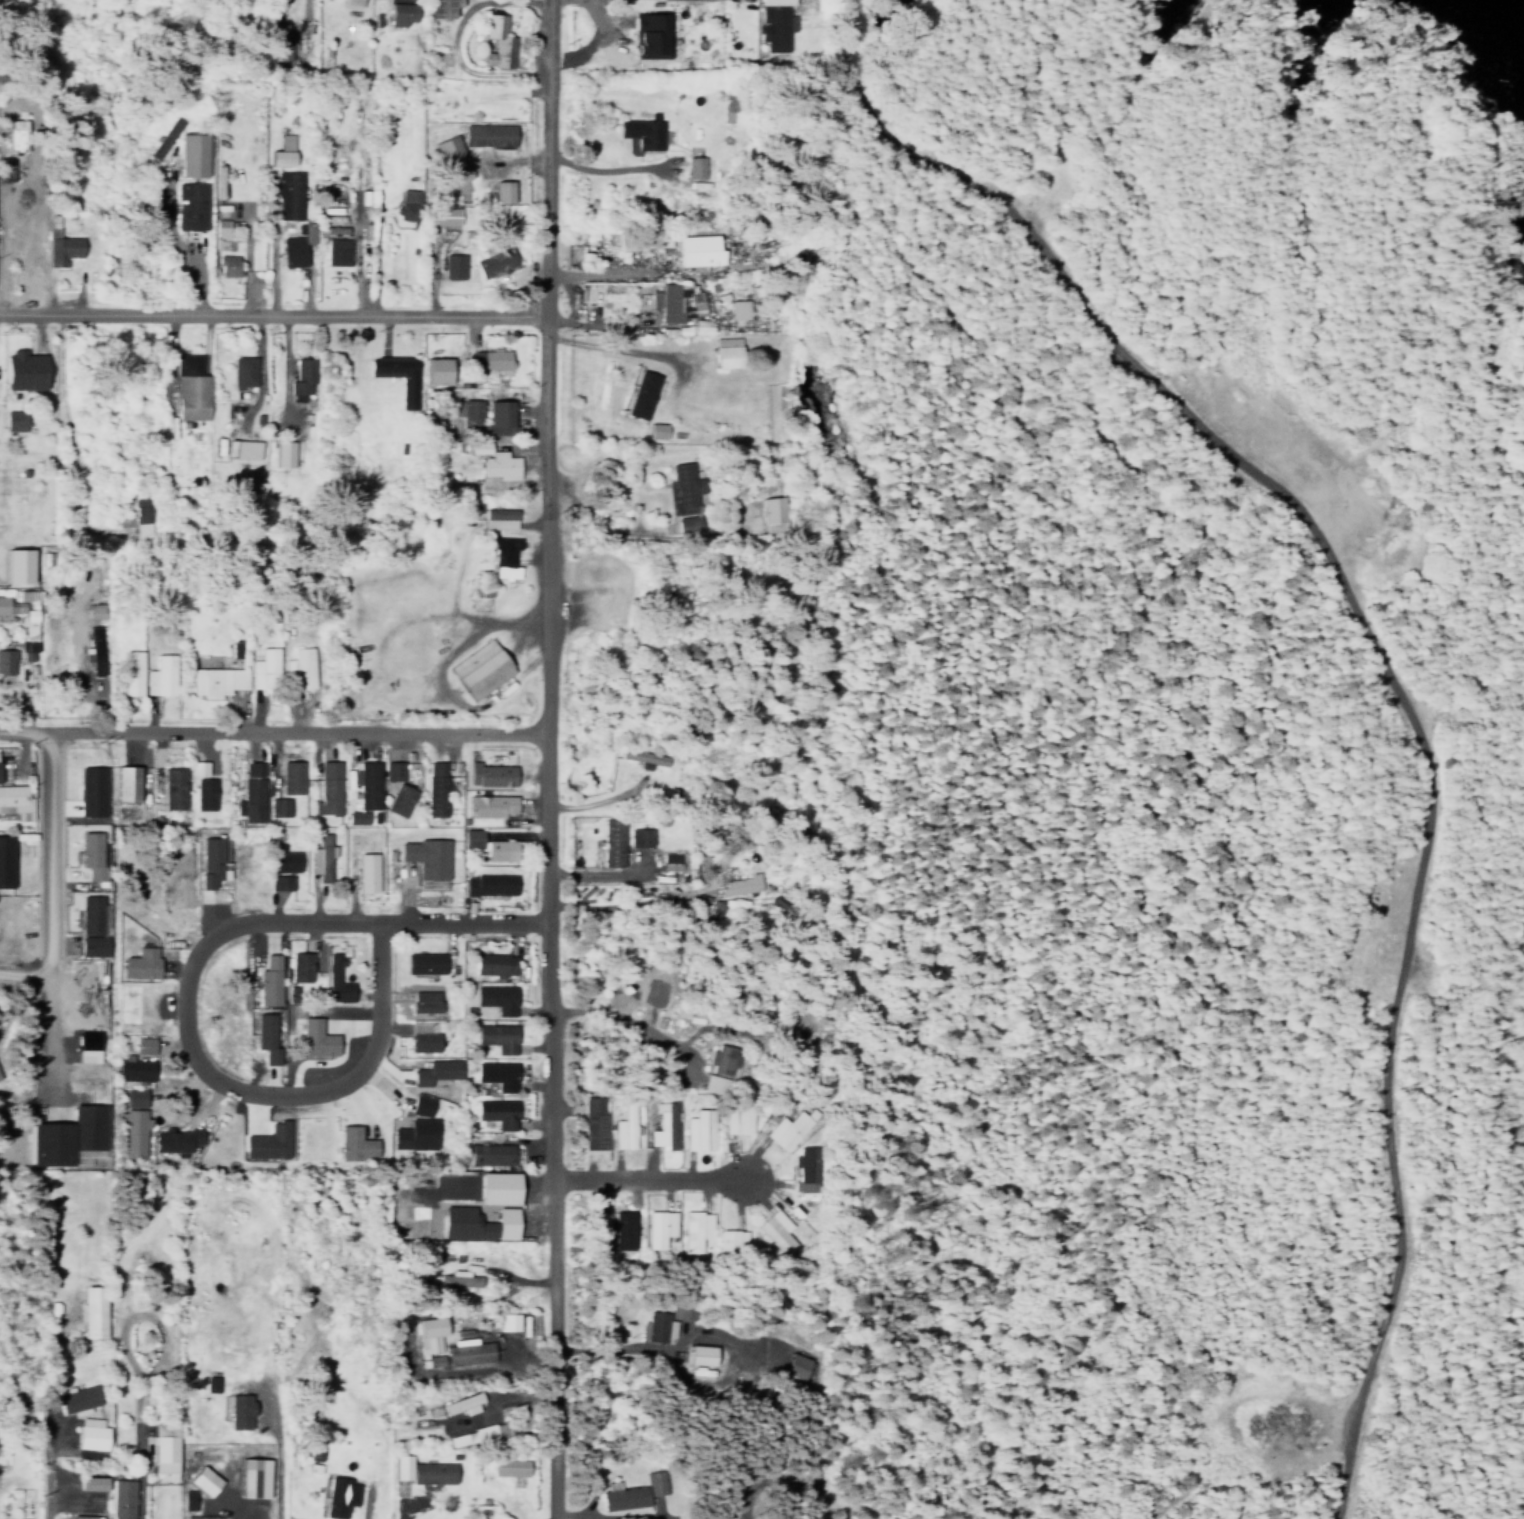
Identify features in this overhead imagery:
building: (353, 1)
building: (441, 6)
building: (399, 10)
building: (775, 21)
building: (650, 34)
building: (497, 37)
building: (730, 100)
building: (642, 129)
building: (490, 134)
building: (283, 151)
building: (193, 154)
building: (454, 155)
road: (547, 156)
building: (694, 165)
road: (605, 167)
building: (504, 191)
building: (290, 194)
building: (408, 204)
building: (190, 206)
building: (447, 215)
building: (221, 228)
road: (175, 232)
building: (62, 242)
building: (297, 245)
building: (697, 246)
building: (337, 251)
building: (497, 262)
building: (227, 265)
building: (456, 267)
building: (665, 298)
building: (696, 303)
building: (737, 306)
road: (273, 310)
building: (725, 353)
building: (489, 357)
building: (24, 366)
building: (437, 366)
building: (243, 367)
building: (303, 371)
building: (398, 371)
building: (192, 383)
building: (639, 391)
building: (471, 412)
building: (498, 414)
building: (15, 415)
building: (655, 426)
road: (71, 437)
building: (242, 445)
building: (288, 450)
building: (500, 465)
building: (682, 485)
building: (771, 496)
building: (143, 515)
building: (500, 518)
road: (539, 521)
building: (687, 522)
building: (506, 557)
building: (19, 561)
building: (3, 601)
building: (98, 610)
building: (28, 641)
building: (94, 652)
building: (7, 656)
road: (1382, 661)
building: (264, 664)
building: (300, 665)
building: (132, 668)
building: (482, 668)
building: (161, 672)
building: (217, 675)
road: (266, 728)
building: (198, 768)
building: (0, 769)
building: (392, 770)
building: (491, 775)
building: (292, 777)
building: (126, 783)
building: (365, 784)
building: (173, 788)
building: (329, 789)
building: (436, 789)
building: (91, 791)
building: (203, 793)
building: (251, 794)
building: (11, 798)
building: (400, 799)
building: (493, 805)
building: (278, 807)
building: (356, 817)
building: (639, 837)
building: (614, 843)
building: (489, 845)
building: (92, 855)
building: (320, 855)
building: (427, 859)
building: (6, 861)
building: (670, 861)
building: (287, 862)
building: (368, 872)
building: (281, 883)
building: (490, 884)
building: (738, 885)
road: (37, 900)
building: (91, 915)
building: (93, 946)
building: (423, 963)
building: (494, 964)
building: (298, 966)
building: (142, 968)
building: (270, 981)
building: (336, 981)
road: (170, 991)
building: (497, 998)
building: (424, 1006)
building: (497, 1037)
building: (267, 1038)
building: (318, 1039)
building: (424, 1041)
building: (89, 1046)
building: (144, 1047)
building: (719, 1059)
building: (135, 1069)
building: (435, 1072)
building: (497, 1075)
building: (420, 1105)
building: (497, 1113)
building: (736, 1116)
building: (592, 1122)
building: (134, 1123)
road: (537, 1124)
building: (663, 1125)
building: (622, 1126)
building: (782, 1128)
building: (697, 1129)
building: (72, 1135)
building: (416, 1135)
building: (270, 1142)
building: (357, 1144)
building: (489, 1154)
building: (802, 1169)
road: (637, 1174)
building: (489, 1186)
building: (470, 1222)
building: (623, 1225)
building: (657, 1227)
building: (694, 1230)
building: (774, 1230)
building: (594, 1231)
building: (730, 1240)
building: (455, 1278)
building: (96, 1311)
building: (505, 1321)
building: (426, 1325)
building: (653, 1326)
building: (428, 1343)
building: (464, 1351)
building: (697, 1354)
building: (433, 1359)
building: (794, 1364)
building: (211, 1383)
building: (79, 1398)
road: (52, 1408)
building: (240, 1411)
building: (92, 1434)
building: (476, 1434)
building: (166, 1451)
building: (504, 1467)
building: (416, 1470)
building: (257, 1477)
building: (206, 1480)
building: (629, 1491)
building: (113, 1493)
building: (339, 1496)
building: (84, 1516)
building: (200, 1517)

